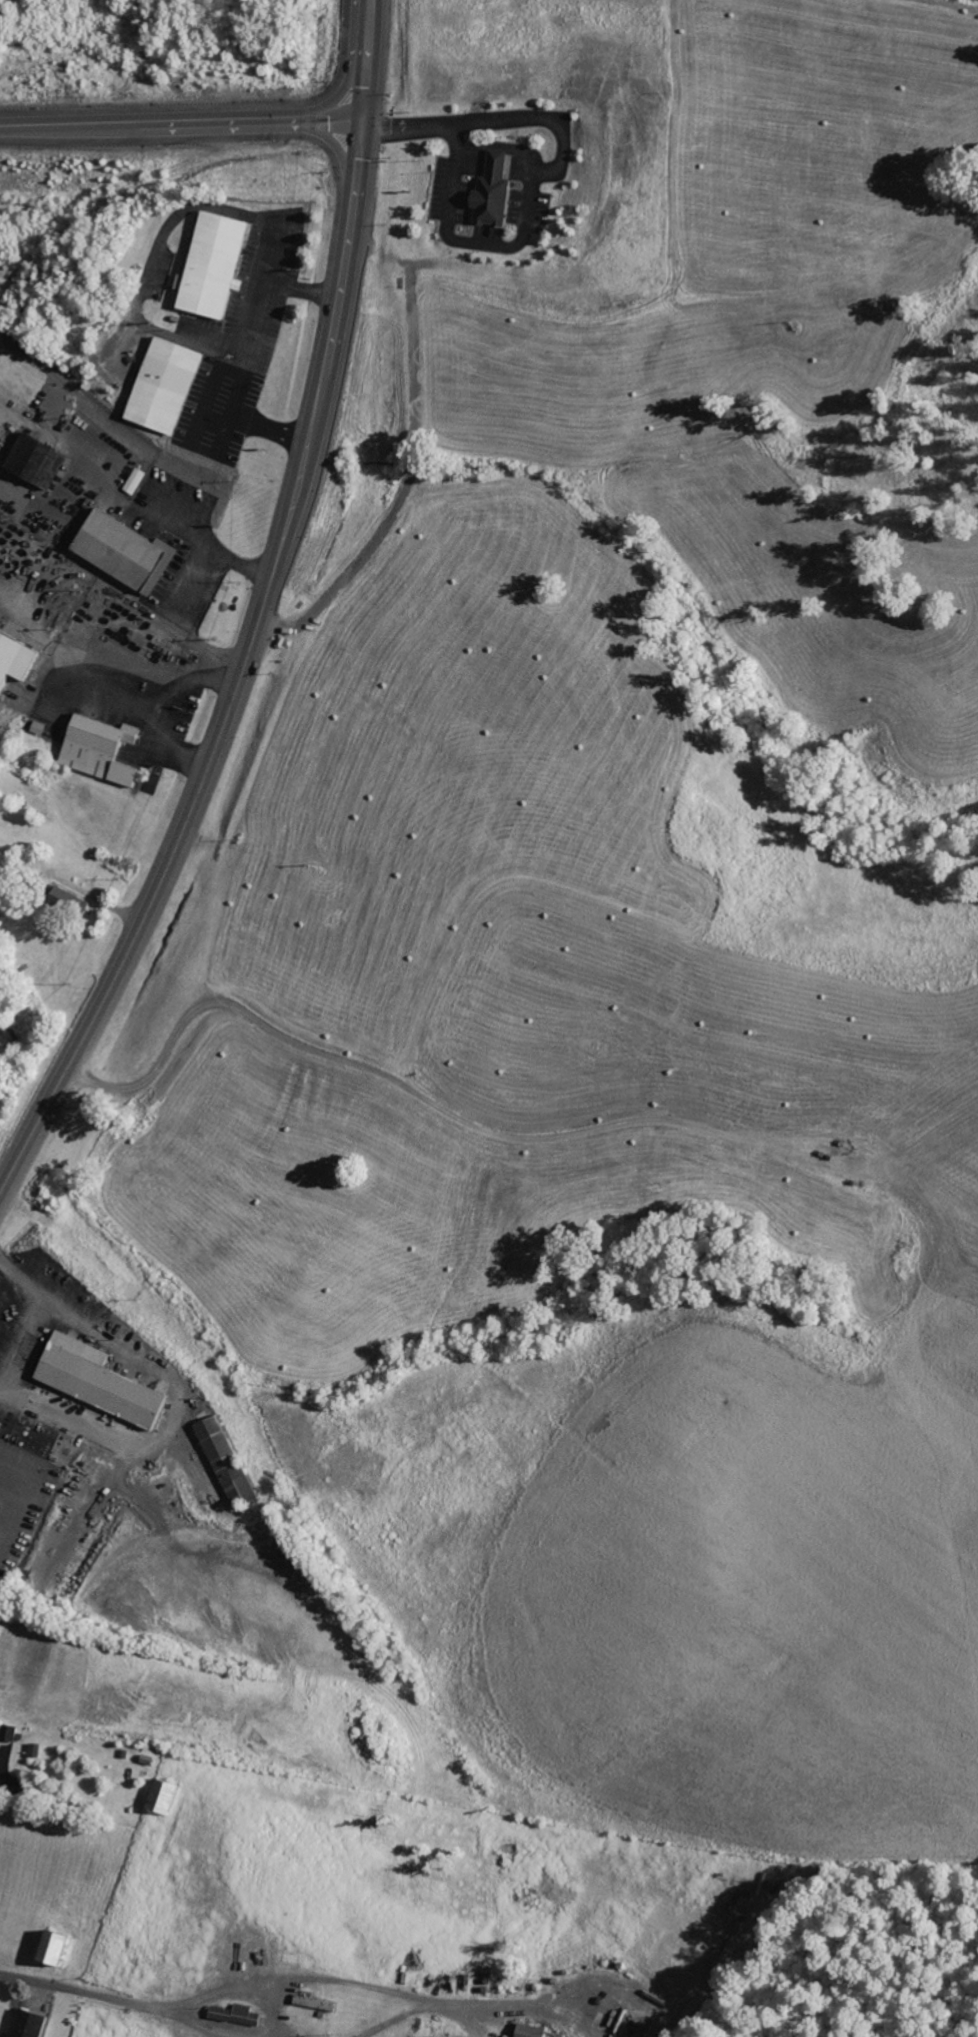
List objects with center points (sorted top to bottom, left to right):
road: (365, 59)
road: (180, 122)
building: (496, 191)
building: (218, 266)
building: (172, 386)
road: (196, 443)
building: (41, 459)
road: (411, 462)
building: (127, 549)
road: (252, 621)
building: (17, 659)
road: (240, 676)
building: (105, 750)
road: (371, 1068)
building: (105, 1382)
building: (224, 1445)
building: (11, 1733)
building: (168, 1796)
building: (59, 1947)
road: (145, 2006)
building: (239, 2015)
building: (32, 2023)
building: (536, 2031)

